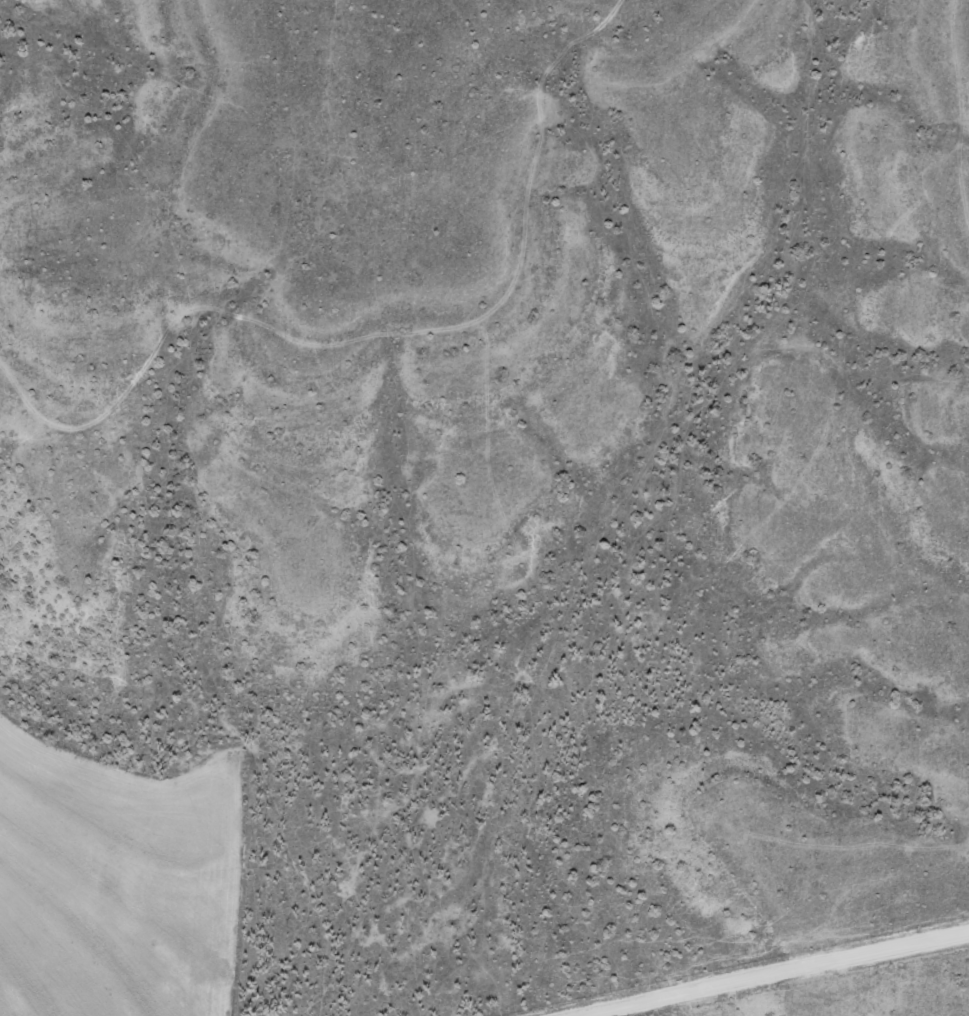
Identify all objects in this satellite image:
road: (777, 973)

